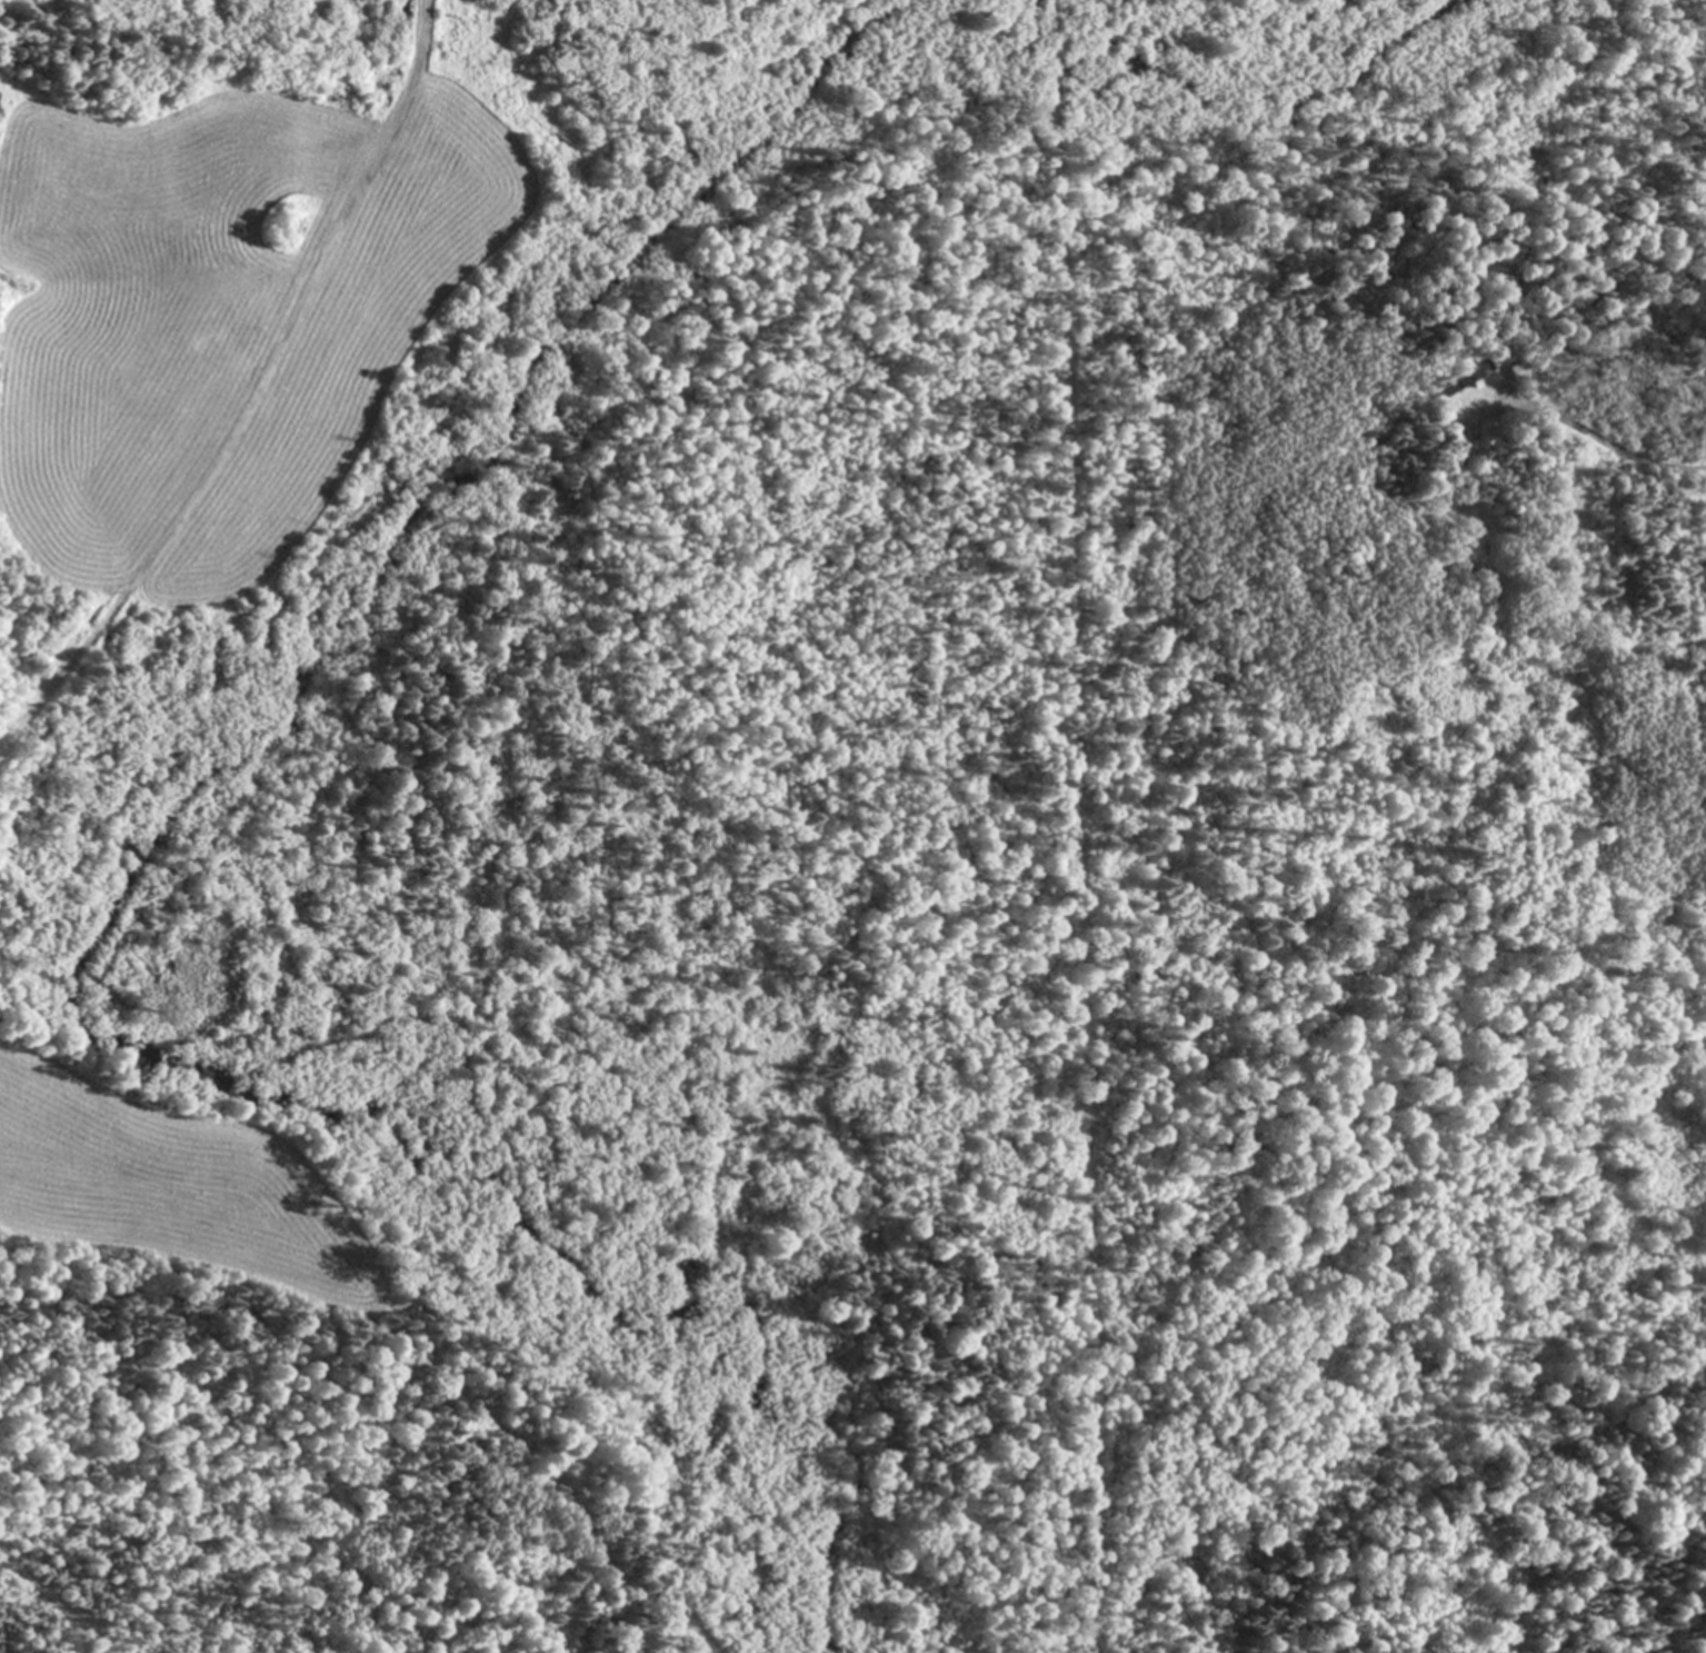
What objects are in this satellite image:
building: (1514, 371)
building: (1454, 385)
road: (1599, 441)

